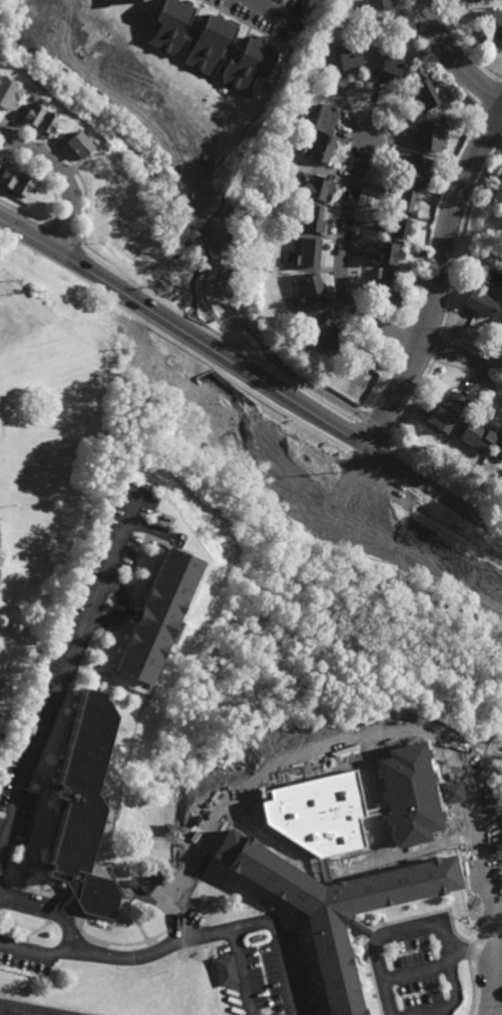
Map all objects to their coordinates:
building: (133, 1)
building: (107, 2)
building: (377, 4)
road: (263, 8)
building: (495, 23)
building: (172, 26)
building: (211, 43)
building: (351, 54)
road: (453, 57)
building: (248, 65)
building: (390, 68)
building: (416, 70)
building: (7, 93)
building: (424, 95)
building: (38, 119)
building: (326, 119)
building: (432, 137)
building: (77, 145)
building: (322, 148)
building: (417, 171)
road: (64, 176)
building: (15, 179)
building: (323, 190)
building: (499, 192)
building: (401, 200)
building: (315, 220)
building: (396, 230)
building: (412, 233)
building: (309, 253)
building: (388, 256)
road: (342, 262)
building: (489, 263)
building: (267, 268)
road: (439, 283)
building: (313, 287)
building: (390, 287)
building: (482, 298)
building: (501, 326)
building: (331, 329)
road: (450, 351)
building: (365, 354)
road: (479, 367)
road: (252, 373)
building: (444, 410)
building: (478, 433)
building: (499, 444)
building: (161, 616)
road: (66, 670)
building: (3, 730)
building: (84, 810)
building: (167, 828)
road: (52, 905)
building: (335, 907)
road: (403, 927)
road: (283, 948)
road: (119, 955)
building: (226, 968)
road: (427, 968)
road: (242, 971)
road: (495, 996)
road: (453, 1000)
road: (23, 1010)

